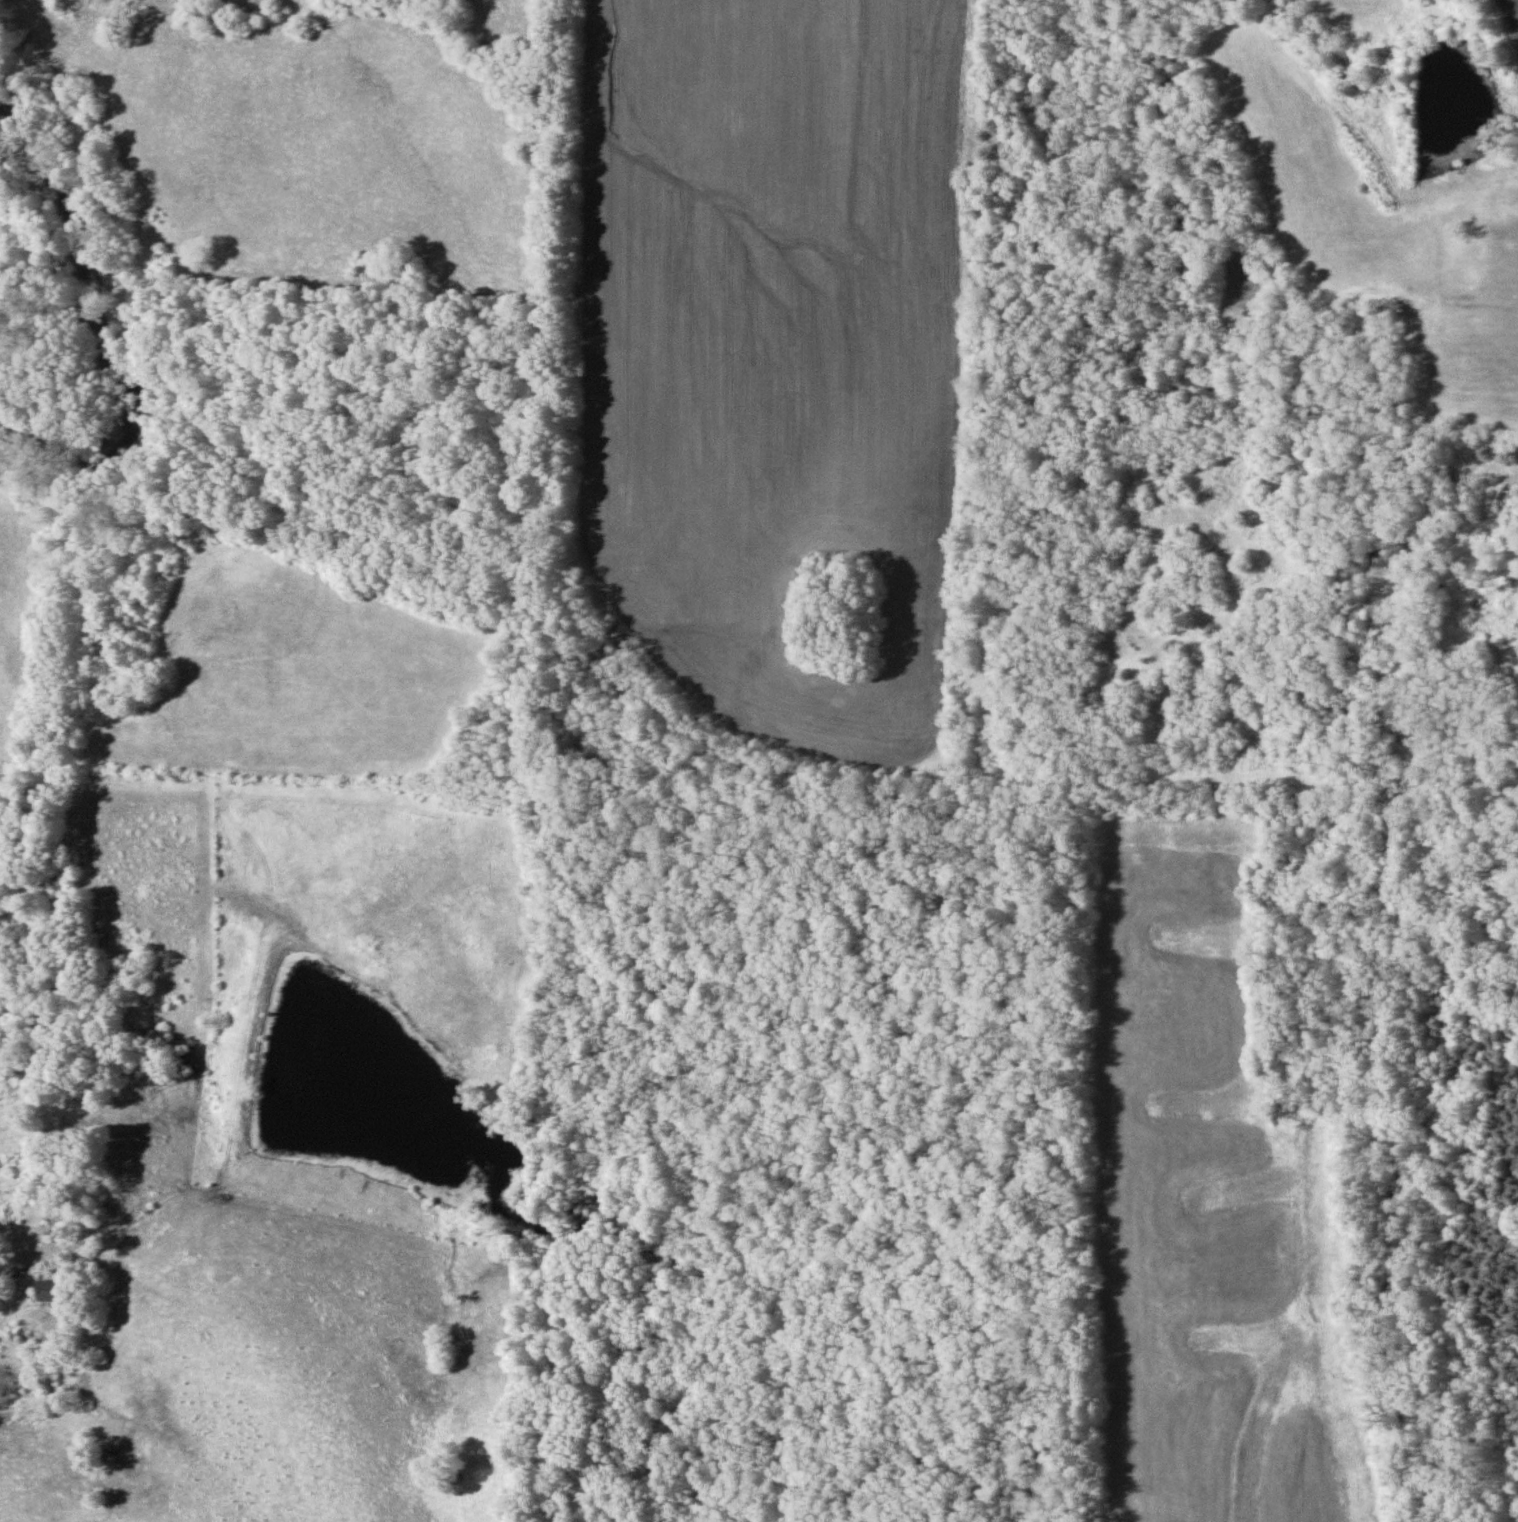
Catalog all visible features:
river: (113, 336)
building: (30, 1221)
road: (31, 1249)
building: (59, 1290)

